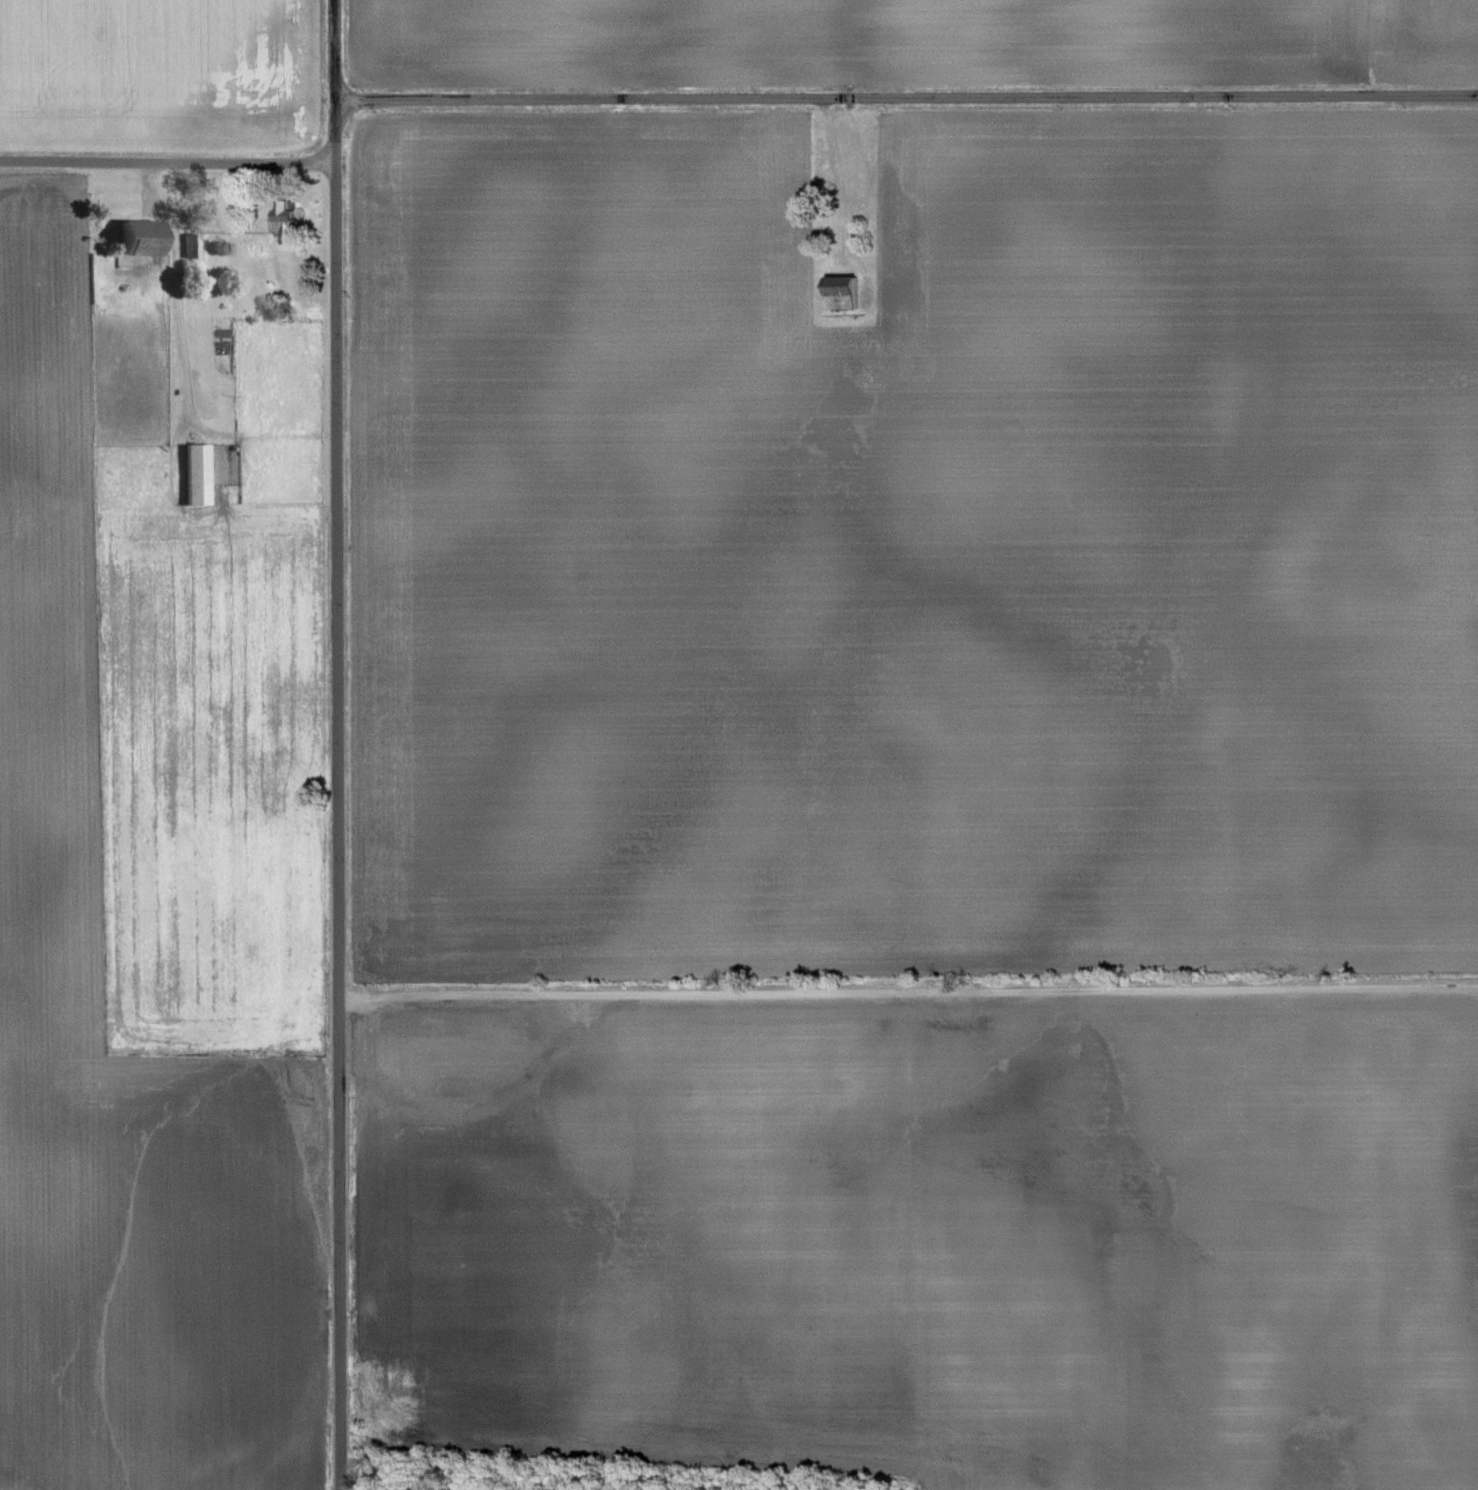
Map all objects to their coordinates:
road: (332, 48)
road: (905, 98)
road: (333, 129)
road: (166, 162)
building: (135, 238)
building: (188, 244)
building: (839, 293)
road: (181, 321)
building: (192, 473)
road: (333, 826)

